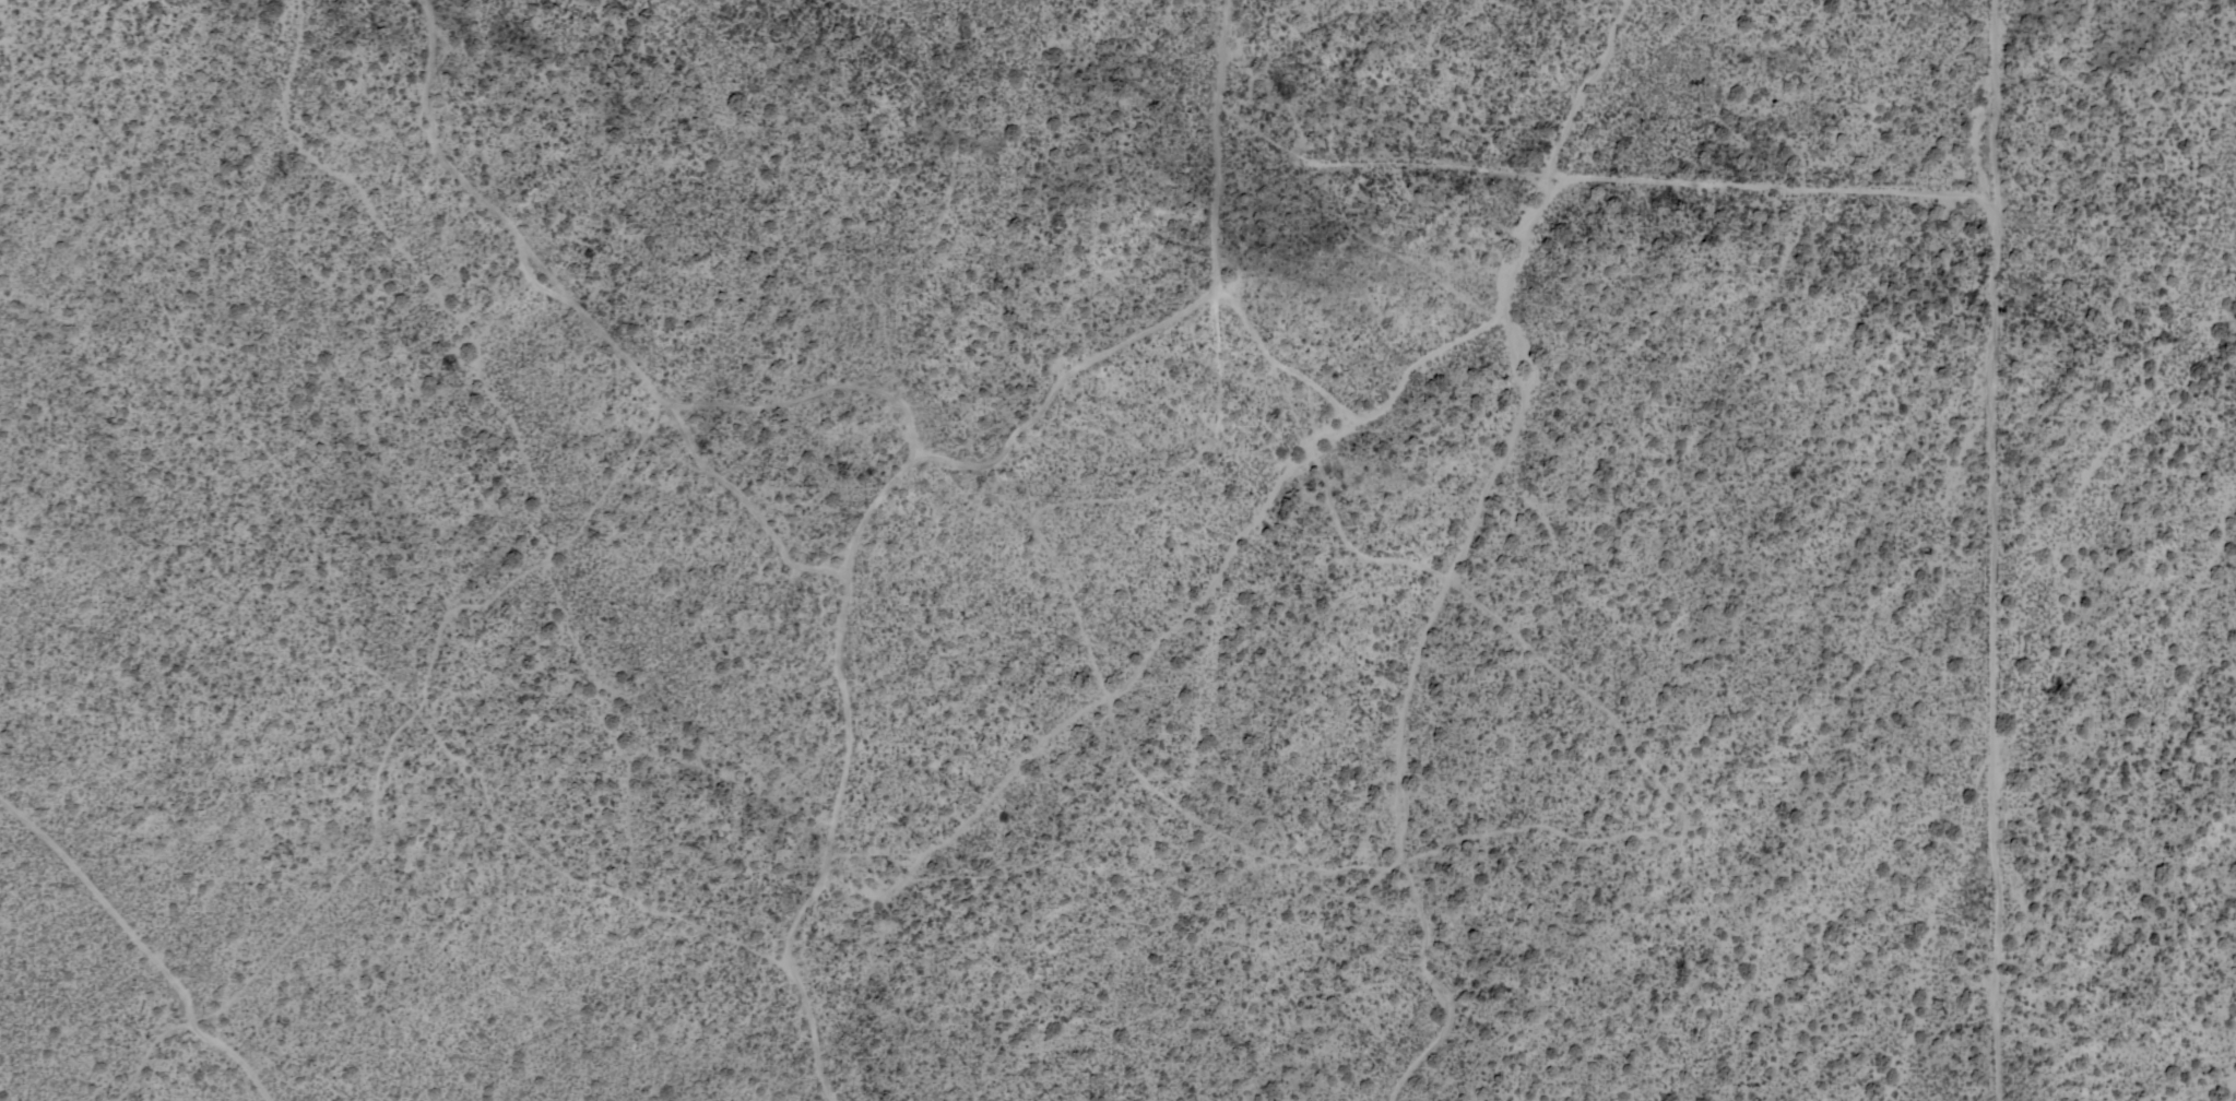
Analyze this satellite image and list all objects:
road: (1998, 550)

